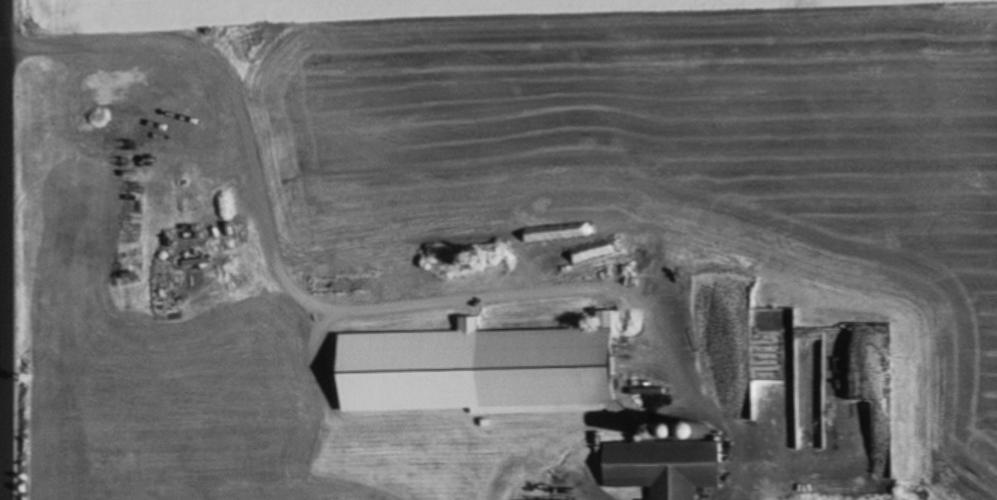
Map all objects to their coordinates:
road: (7, 249)
crop: (968, 263)
building: (529, 275)
road: (358, 314)
building: (761, 349)
building: (482, 369)
building: (834, 429)
building: (666, 466)
building: (562, 493)

